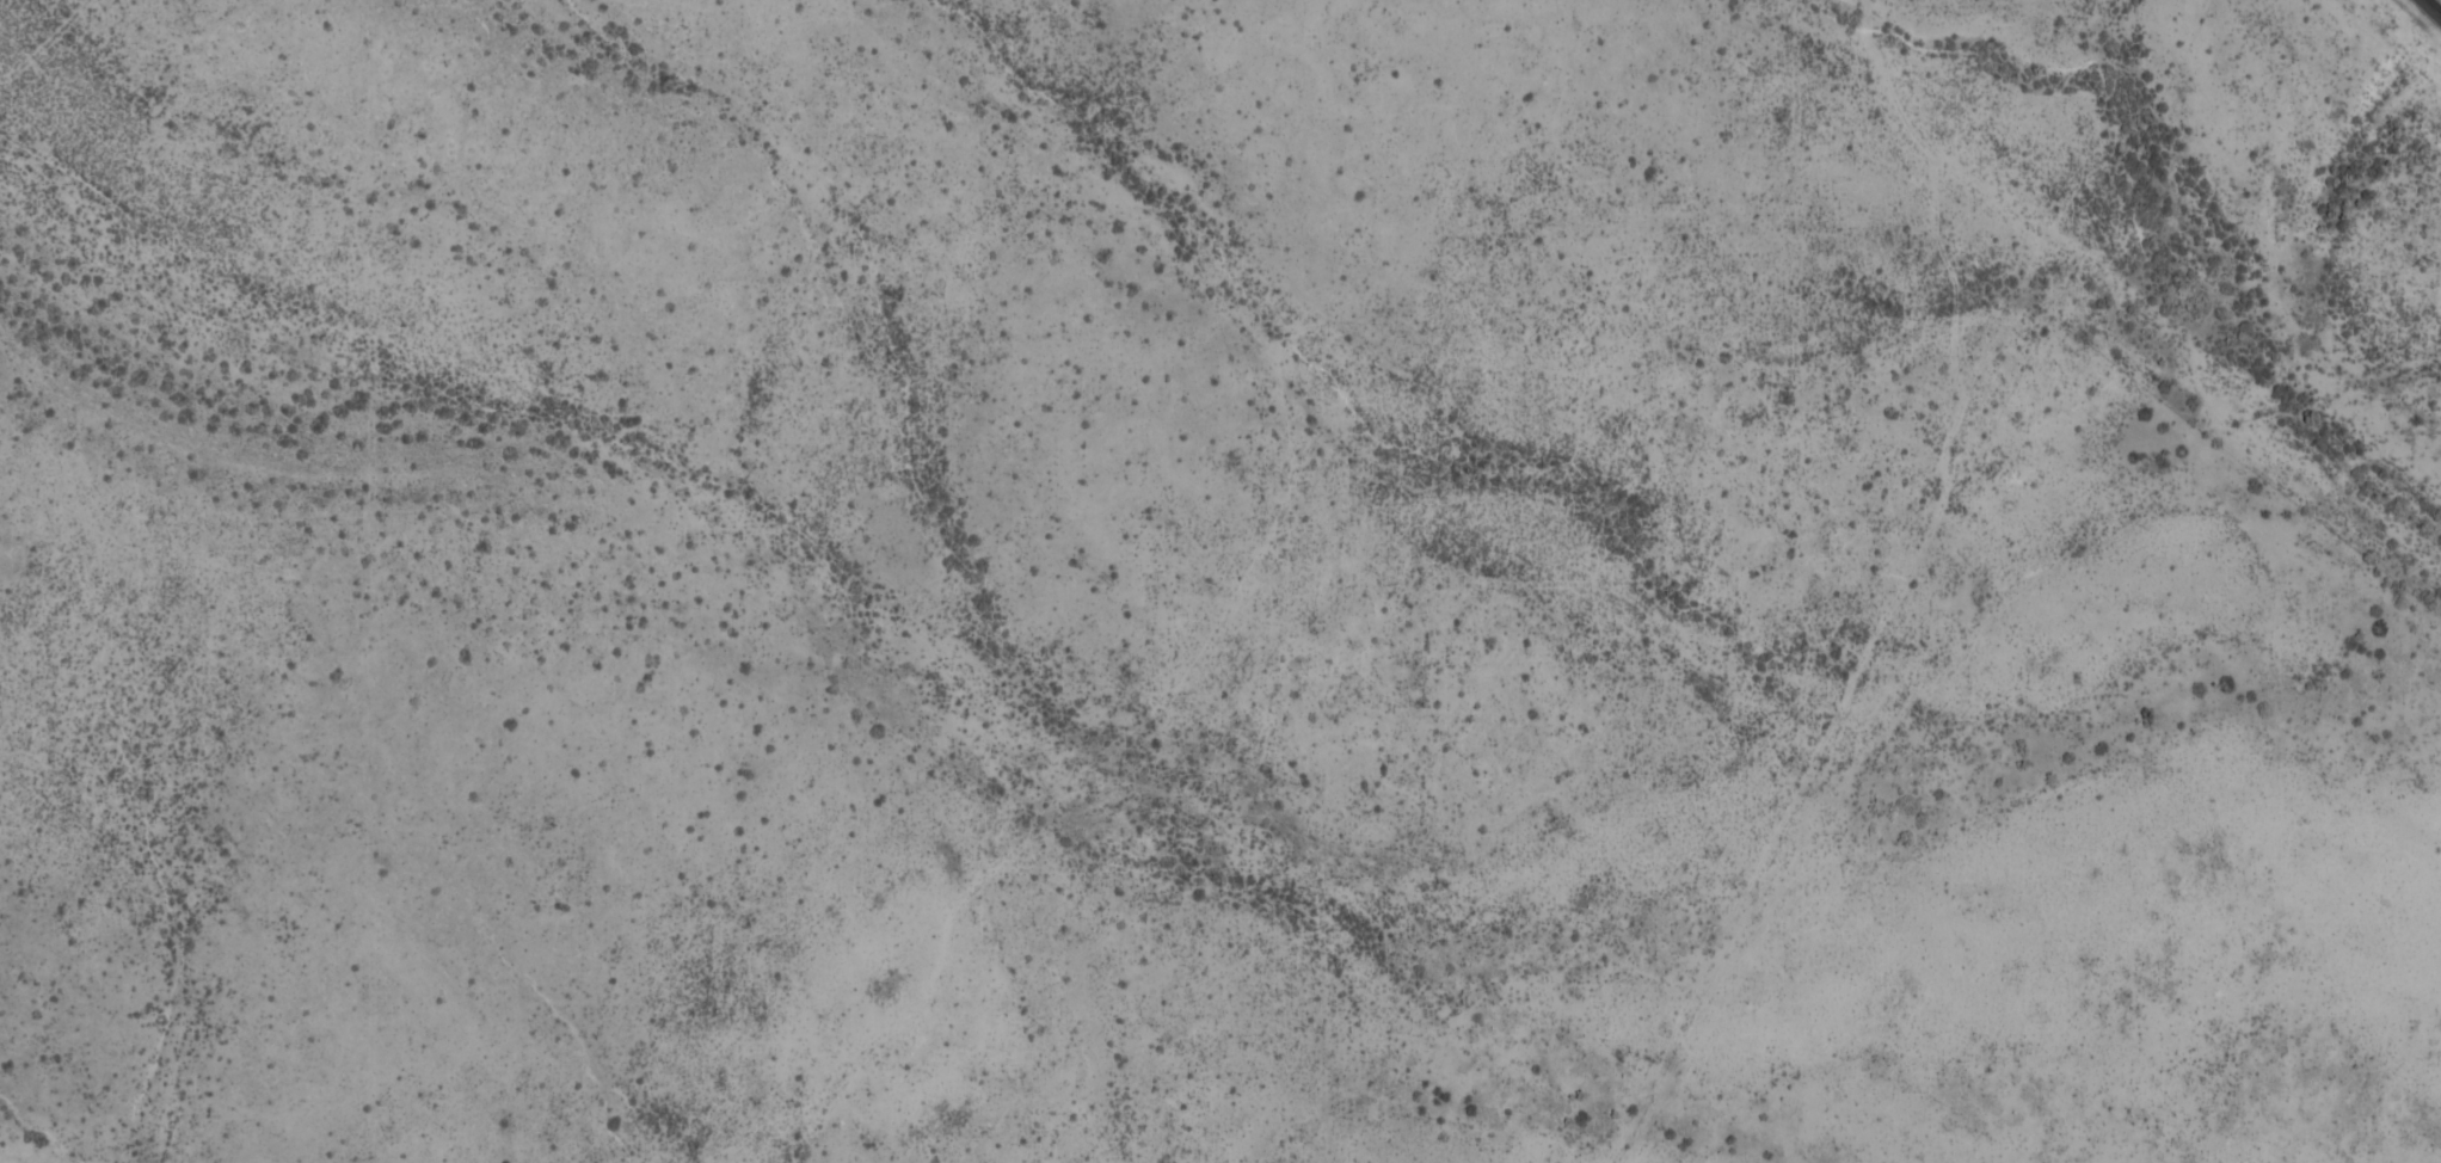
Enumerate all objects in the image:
road: (2430, 10)
power tower: (2422, 260)

